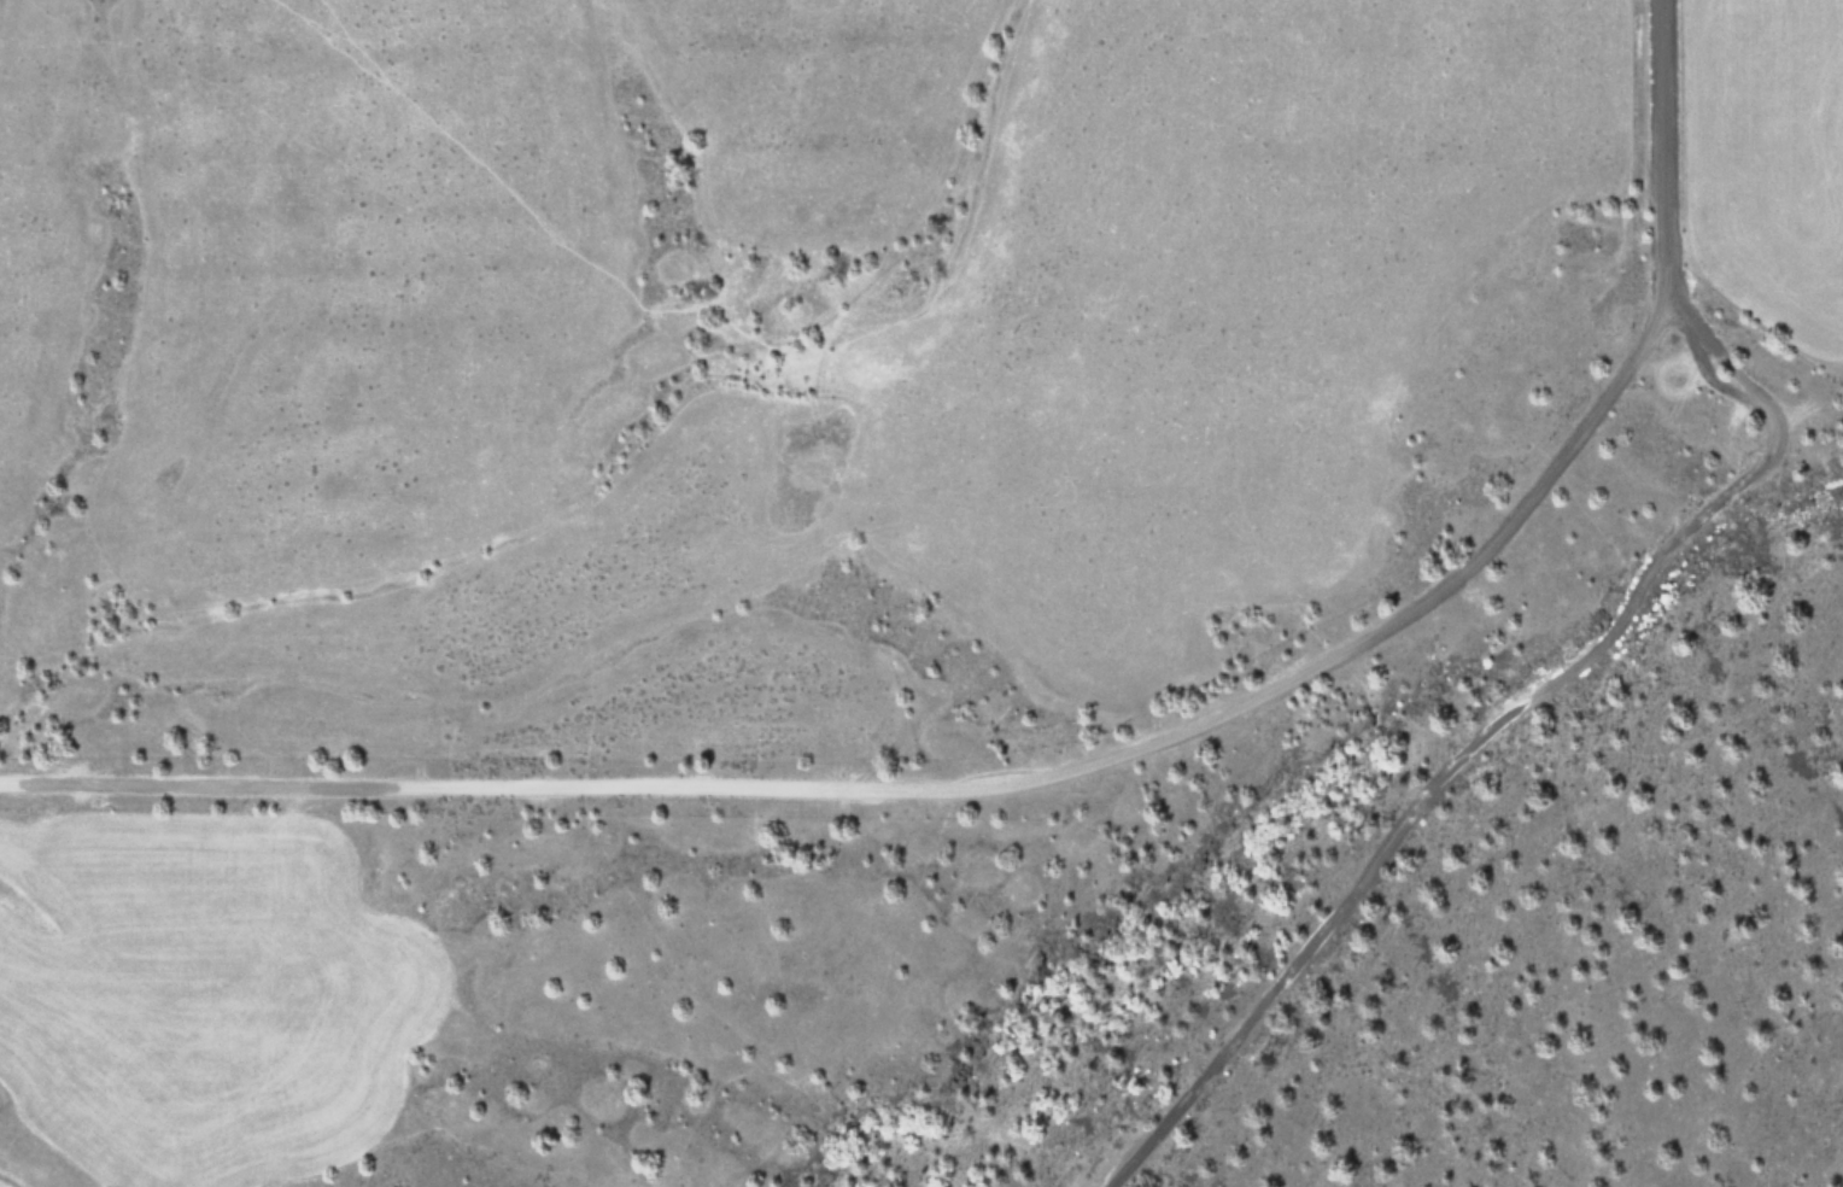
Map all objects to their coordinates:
road: (1668, 145)
road: (1488, 729)
road: (929, 784)

